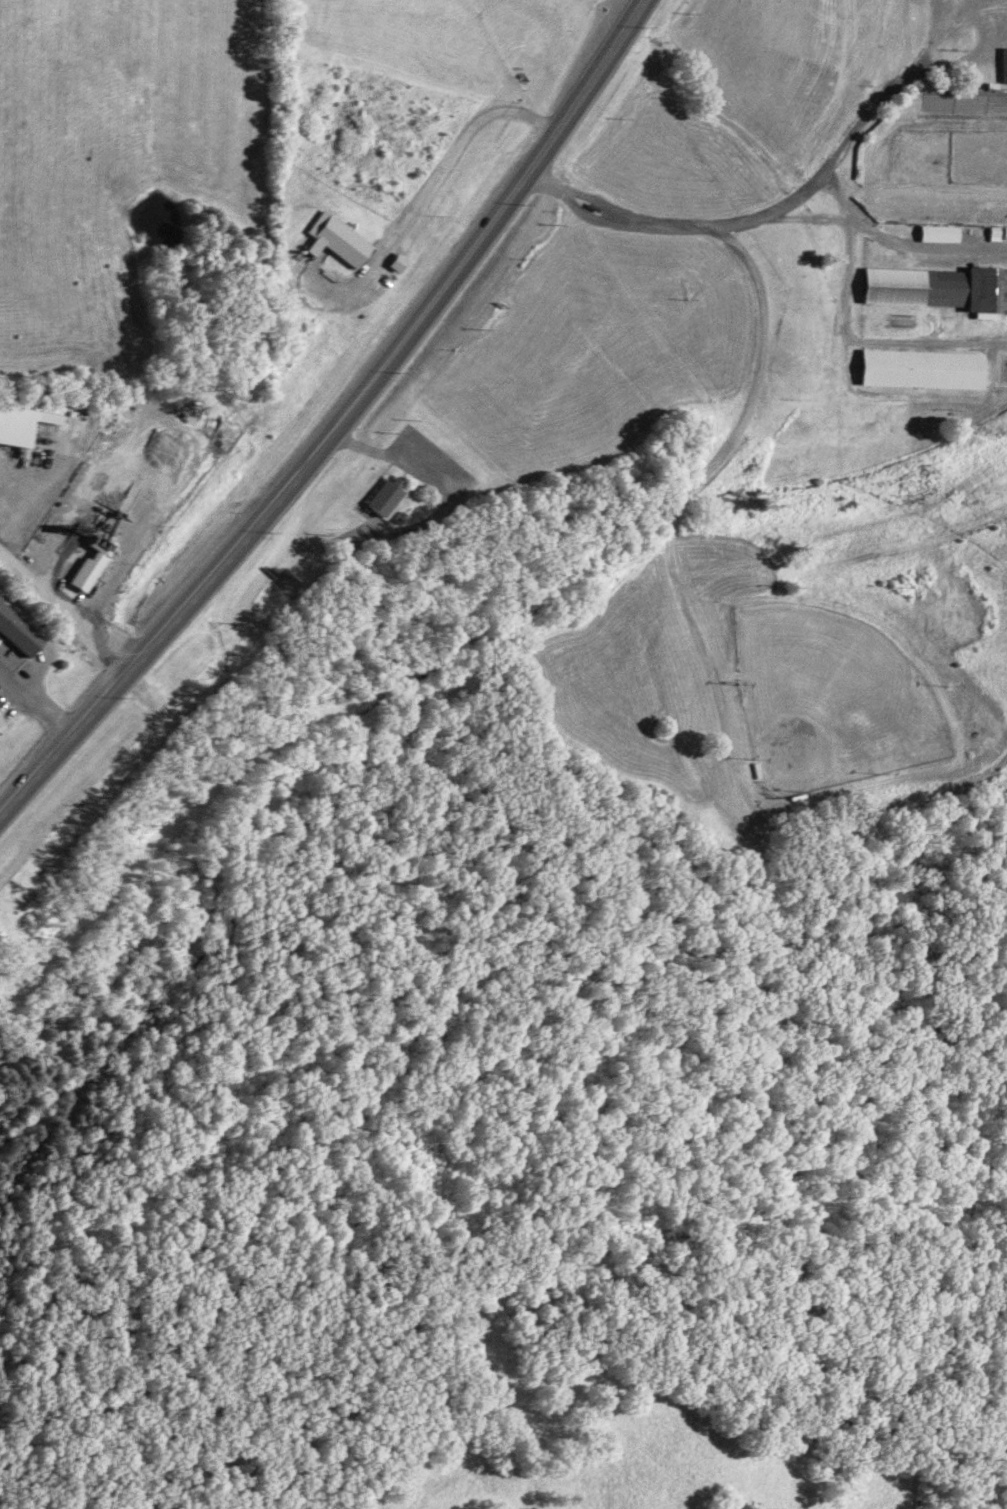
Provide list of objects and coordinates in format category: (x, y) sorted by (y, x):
building: (946, 233)
building: (345, 239)
building: (941, 288)
building: (927, 368)
building: (25, 424)
road: (348, 425)
building: (394, 494)
road: (66, 599)
building: (21, 628)
building: (0, 708)

